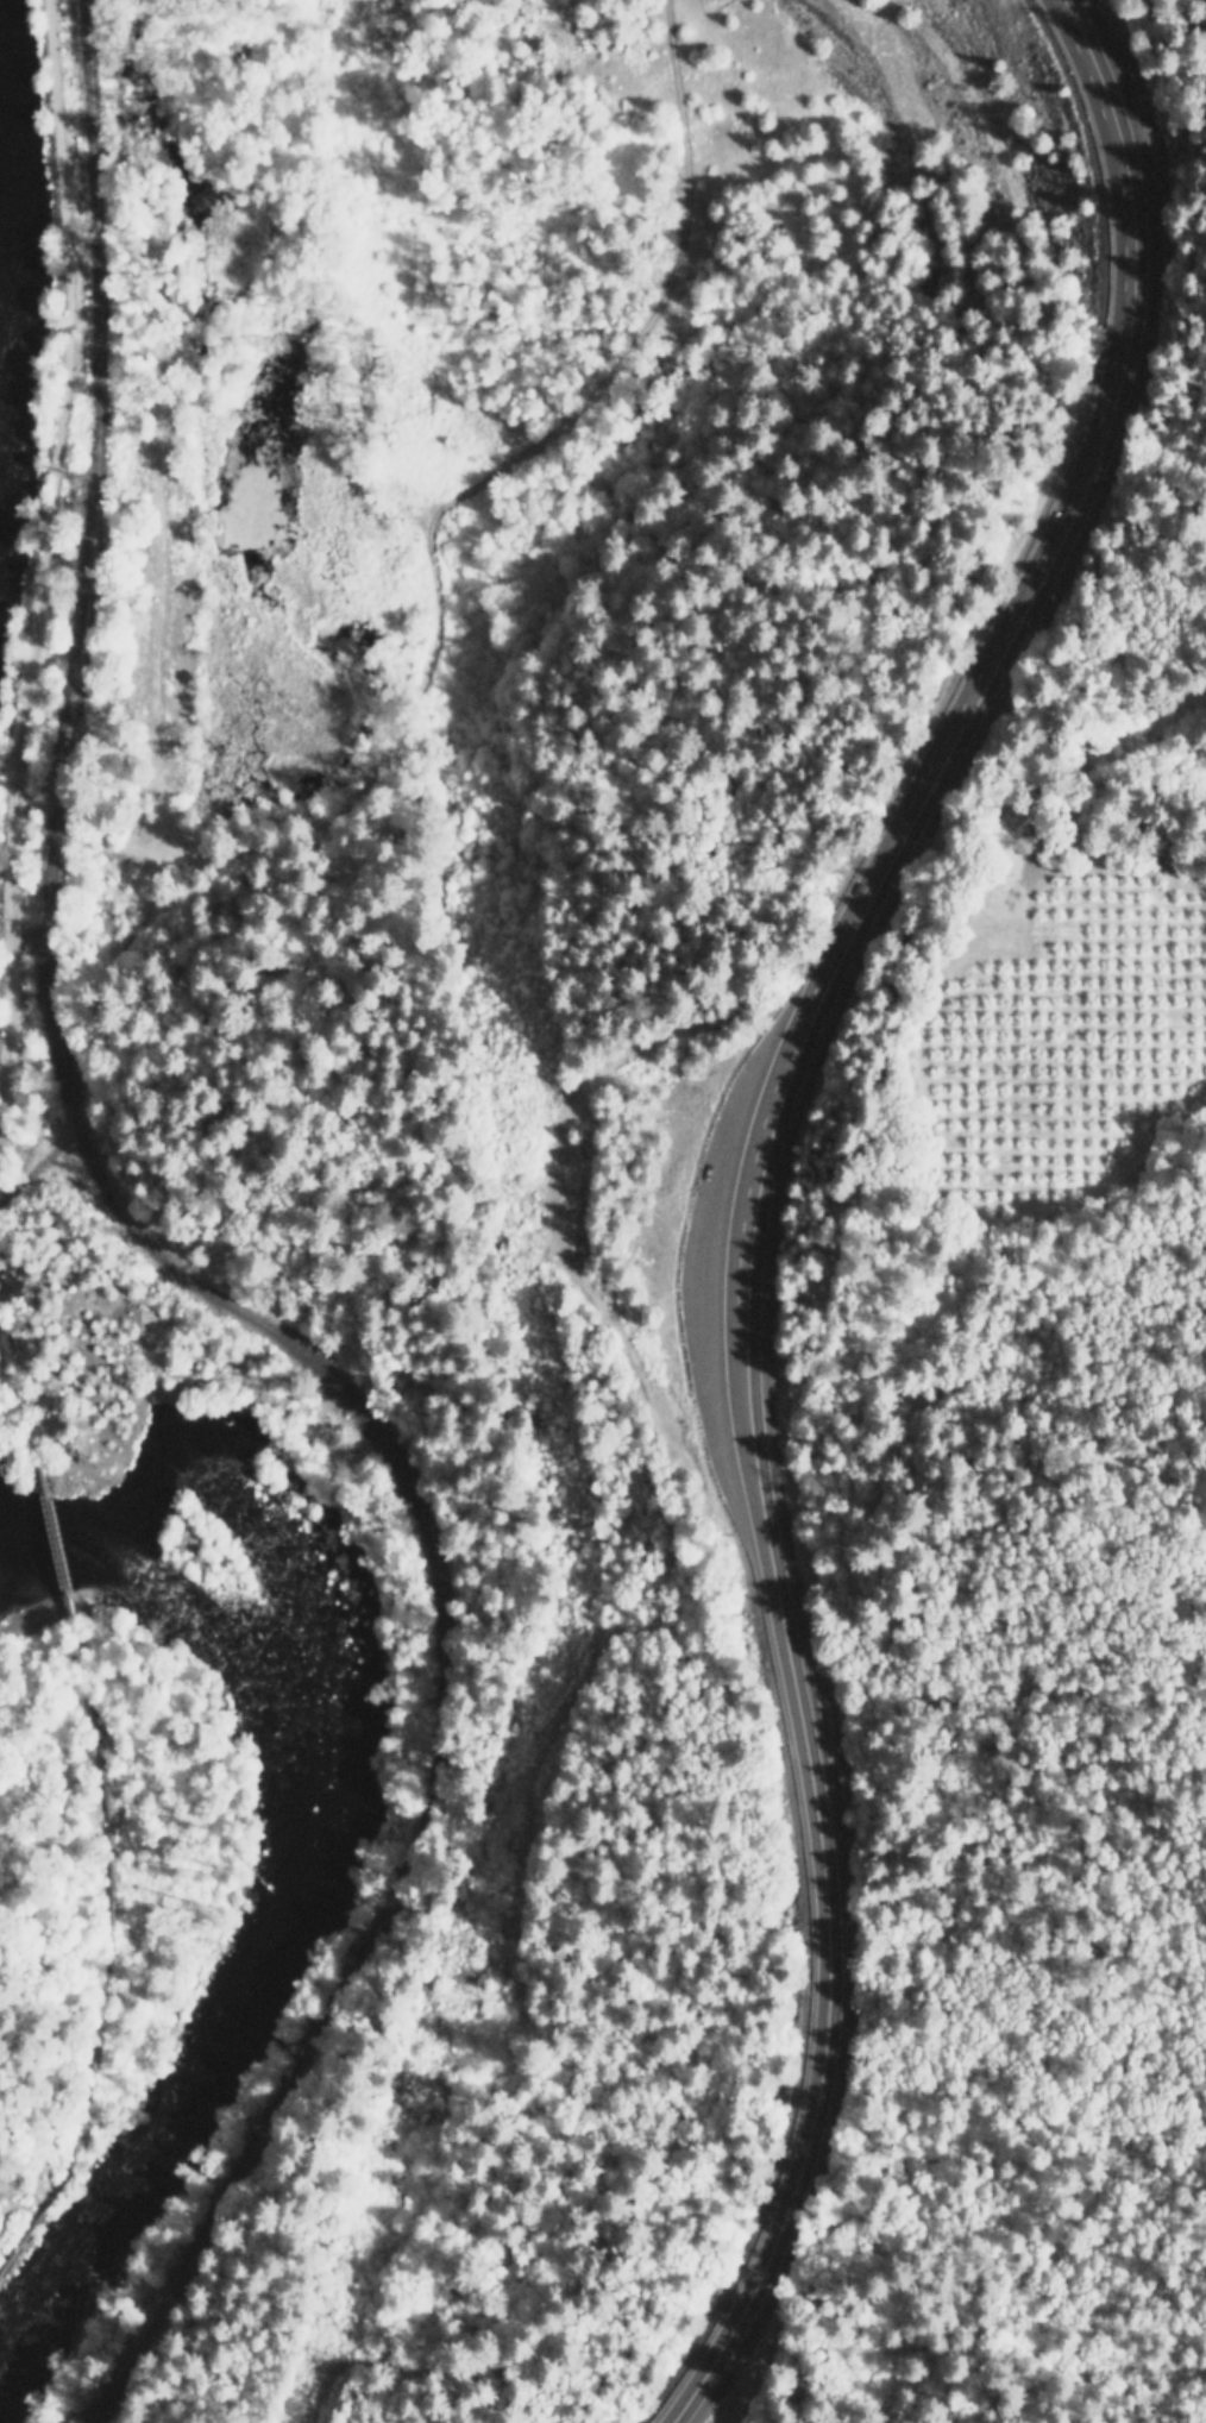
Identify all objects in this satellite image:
road: (1128, 264)
road: (45, 532)
road: (866, 894)
parking lot: (730, 1256)
railway: (190, 1287)
road: (20, 1418)
road: (55, 1540)
river: (331, 1818)
road: (821, 1866)
road: (108, 1945)
road: (108, 1945)

